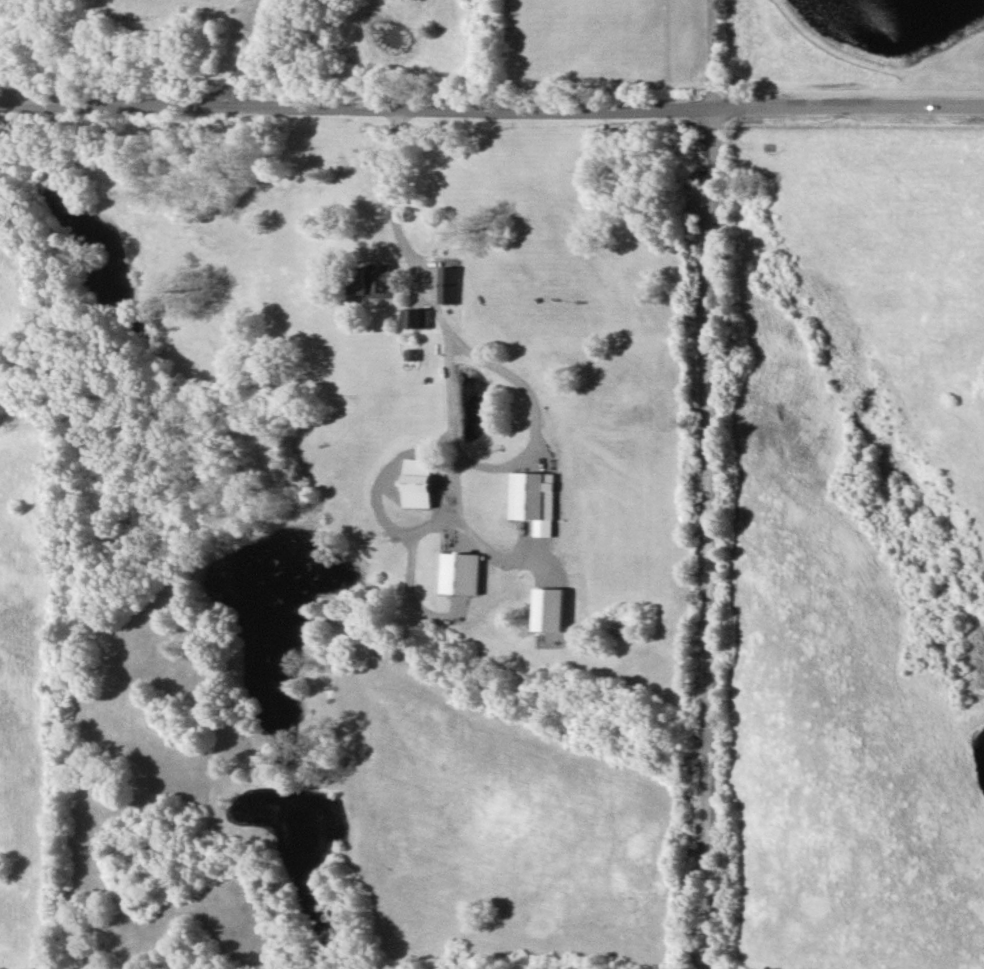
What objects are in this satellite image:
road: (10, 53)
road: (252, 54)
road: (492, 112)
building: (372, 280)
building: (447, 284)
building: (414, 318)
road: (449, 395)
building: (419, 482)
road: (705, 484)
building: (532, 499)
building: (460, 573)
building: (549, 609)

